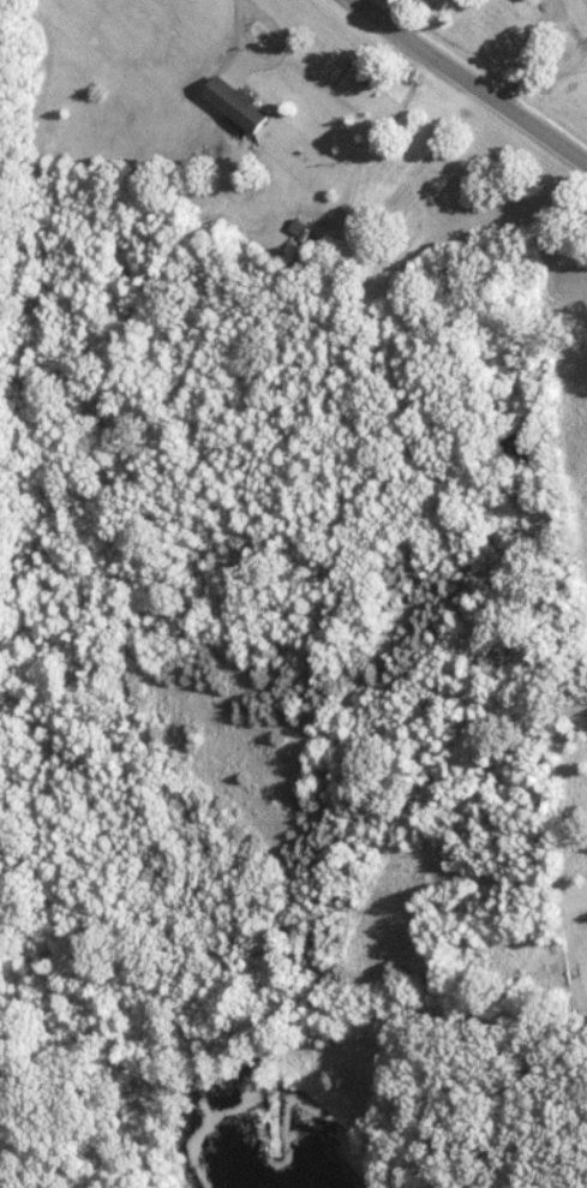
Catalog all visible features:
building: (526, 0)
road: (245, 43)
road: (469, 83)
building: (233, 105)

